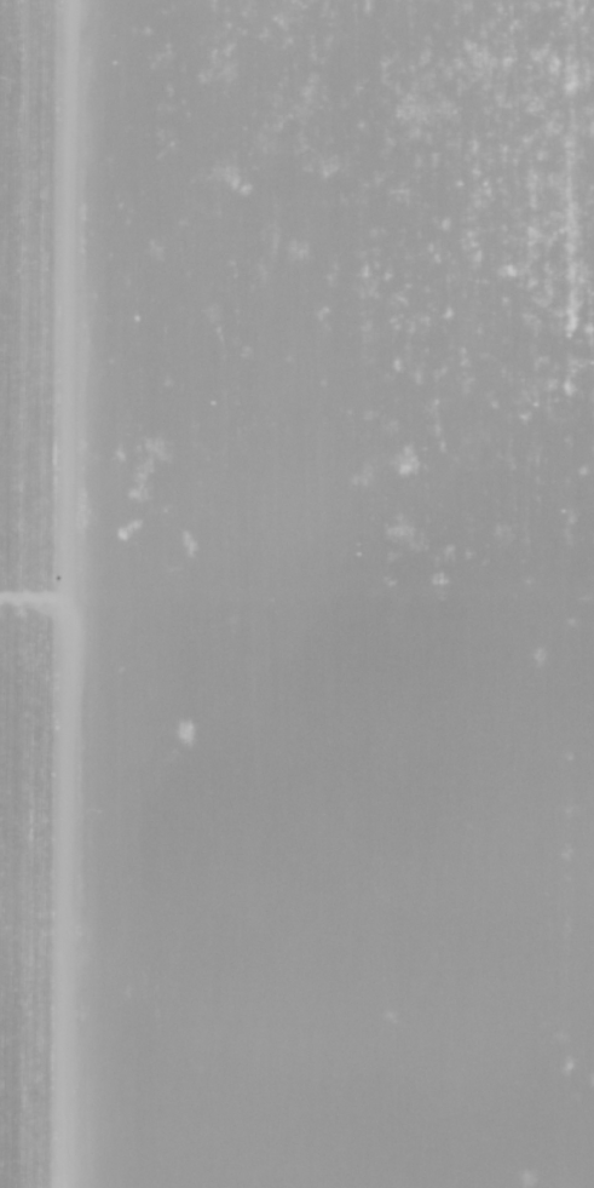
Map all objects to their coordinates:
crop: (321, 592)
crop: (24, 602)

